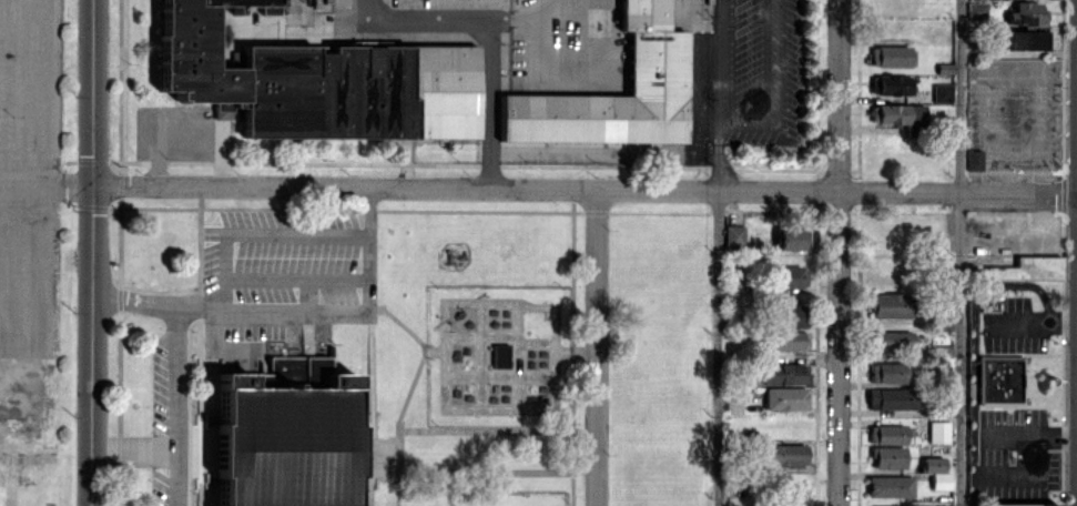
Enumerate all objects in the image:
building: (976, 10)
building: (1025, 13)
road: (491, 32)
building: (1023, 39)
building: (890, 55)
building: (657, 60)
building: (284, 74)
building: (891, 84)
road: (41, 92)
building: (942, 92)
road: (839, 95)
building: (900, 117)
road: (743, 119)
road: (715, 153)
building: (974, 160)
parking lot: (29, 175)
road: (45, 185)
traffic signals: (92, 186)
road: (465, 188)
road: (957, 191)
building: (733, 235)
building: (789, 239)
road: (92, 253)
road: (959, 253)
building: (1027, 269)
parking lot: (283, 274)
building: (790, 276)
building: (890, 305)
road: (291, 307)
building: (791, 315)
building: (786, 340)
building: (892, 340)
road: (596, 347)
road: (718, 347)
road: (837, 348)
building: (500, 355)
building: (886, 372)
building: (784, 373)
building: (1000, 381)
building: (785, 398)
building: (891, 398)
flagpole: (135, 405)
road: (177, 406)
building: (938, 431)
building: (886, 434)
building: (281, 439)
building: (786, 455)
building: (888, 456)
building: (936, 472)
building: (890, 486)
park: (470, 490)
building: (788, 495)
building: (1019, 504)
building: (901, 505)

